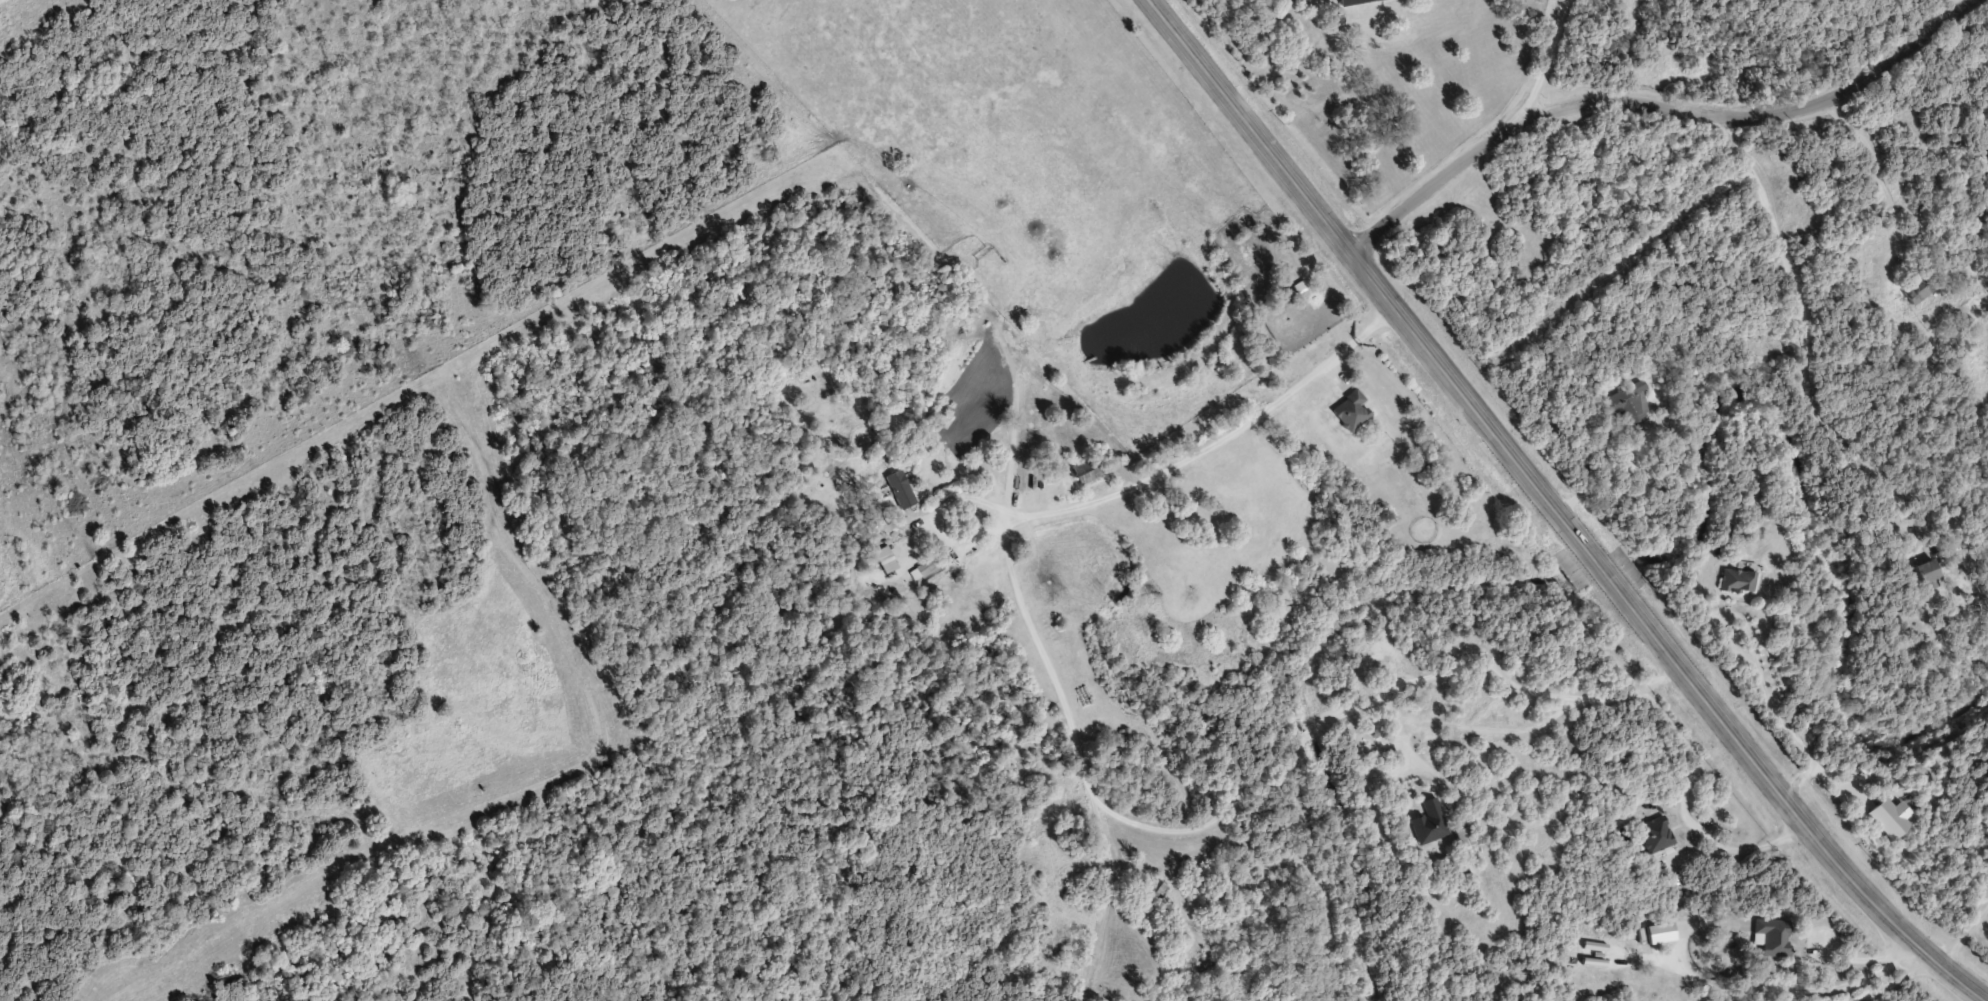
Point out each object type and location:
building: (1354, 2)
road: (1549, 62)
road: (1654, 108)
building: (1923, 284)
building: (1626, 403)
building: (1351, 410)
building: (900, 488)
road: (1555, 509)
building: (886, 559)
building: (1928, 572)
building: (1739, 580)
building: (1430, 822)
building: (1656, 833)
building: (1158, 890)
building: (1770, 939)
road: (1782, 968)

